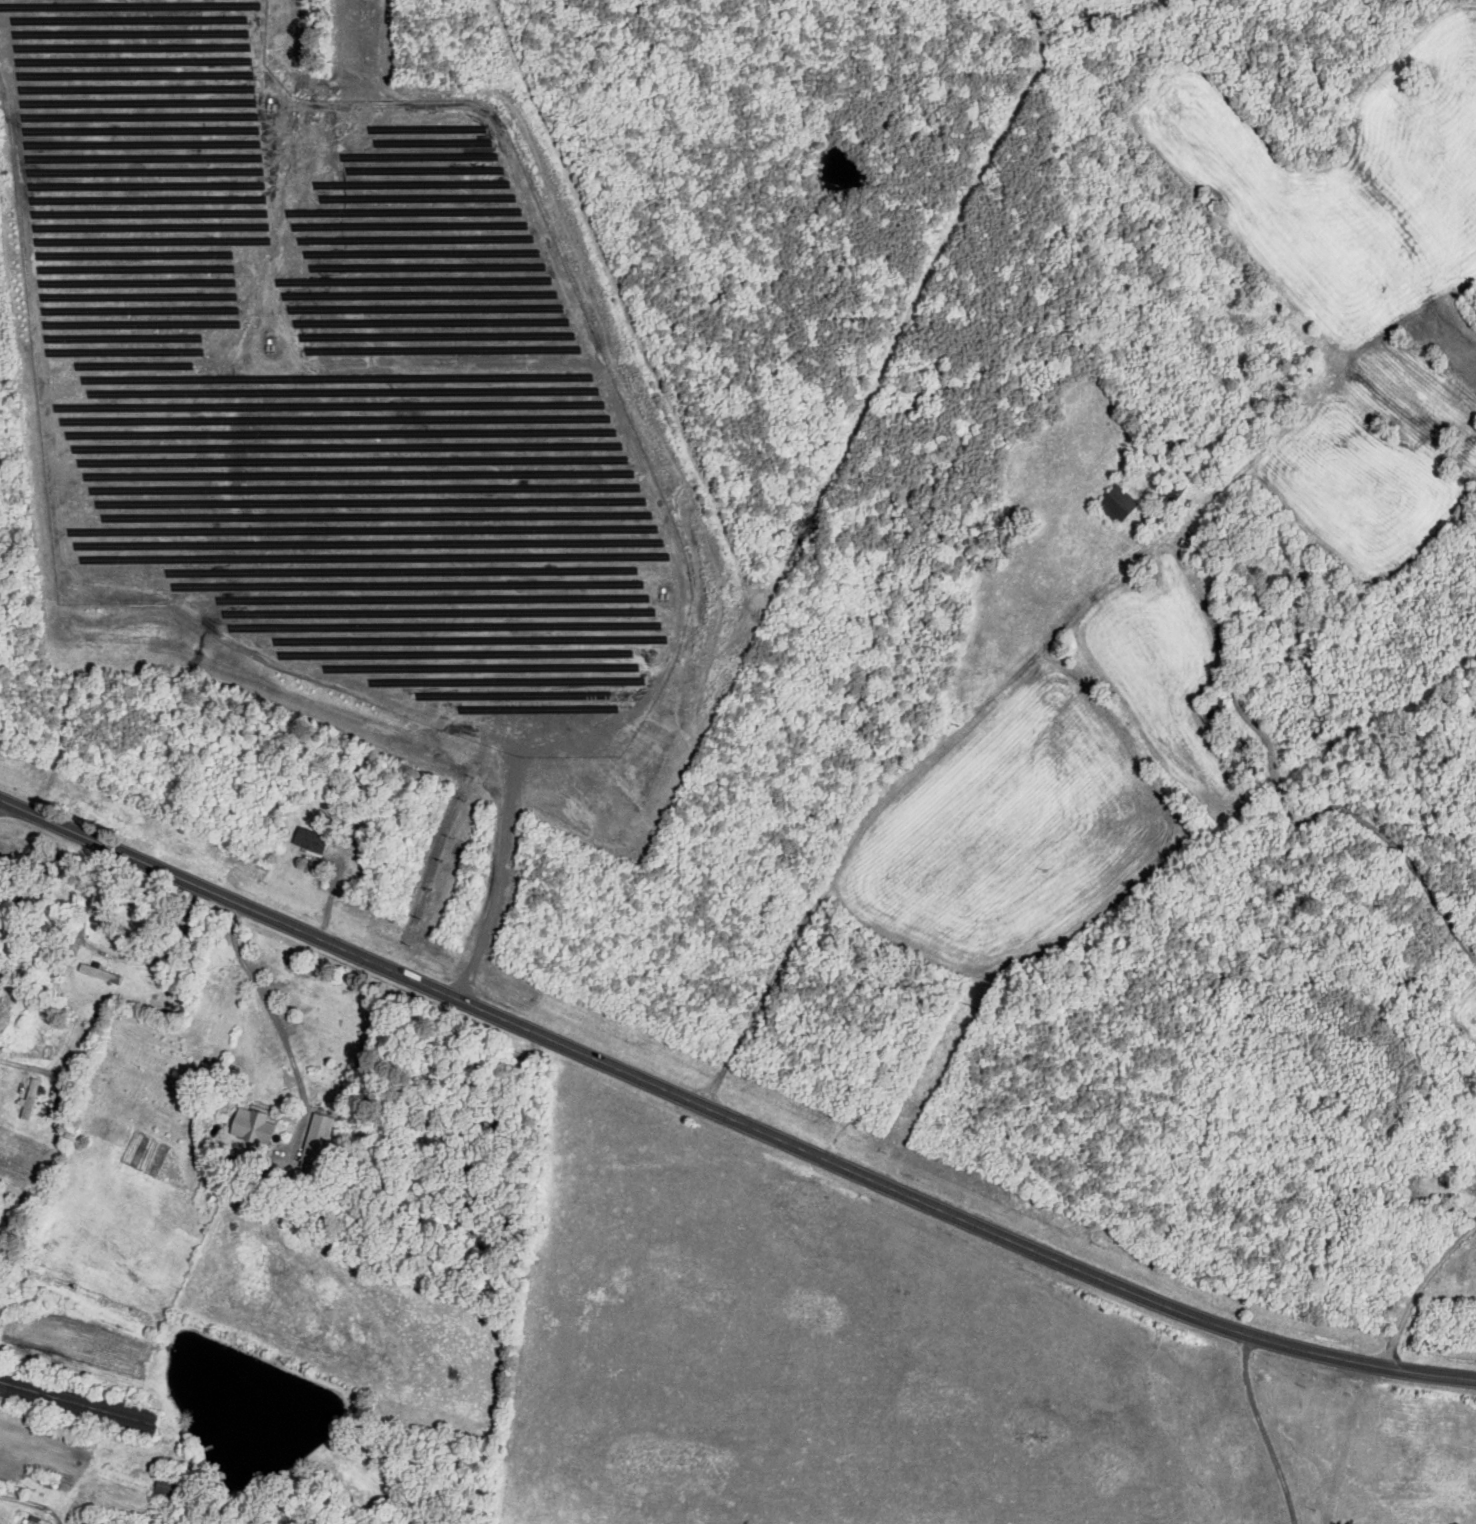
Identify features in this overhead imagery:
solar farm: (329, 383)
building: (307, 839)
building: (96, 973)
building: (29, 1099)
road: (730, 1116)
building: (248, 1126)
building: (317, 1130)
road: (1400, 1280)
road: (1264, 1431)

